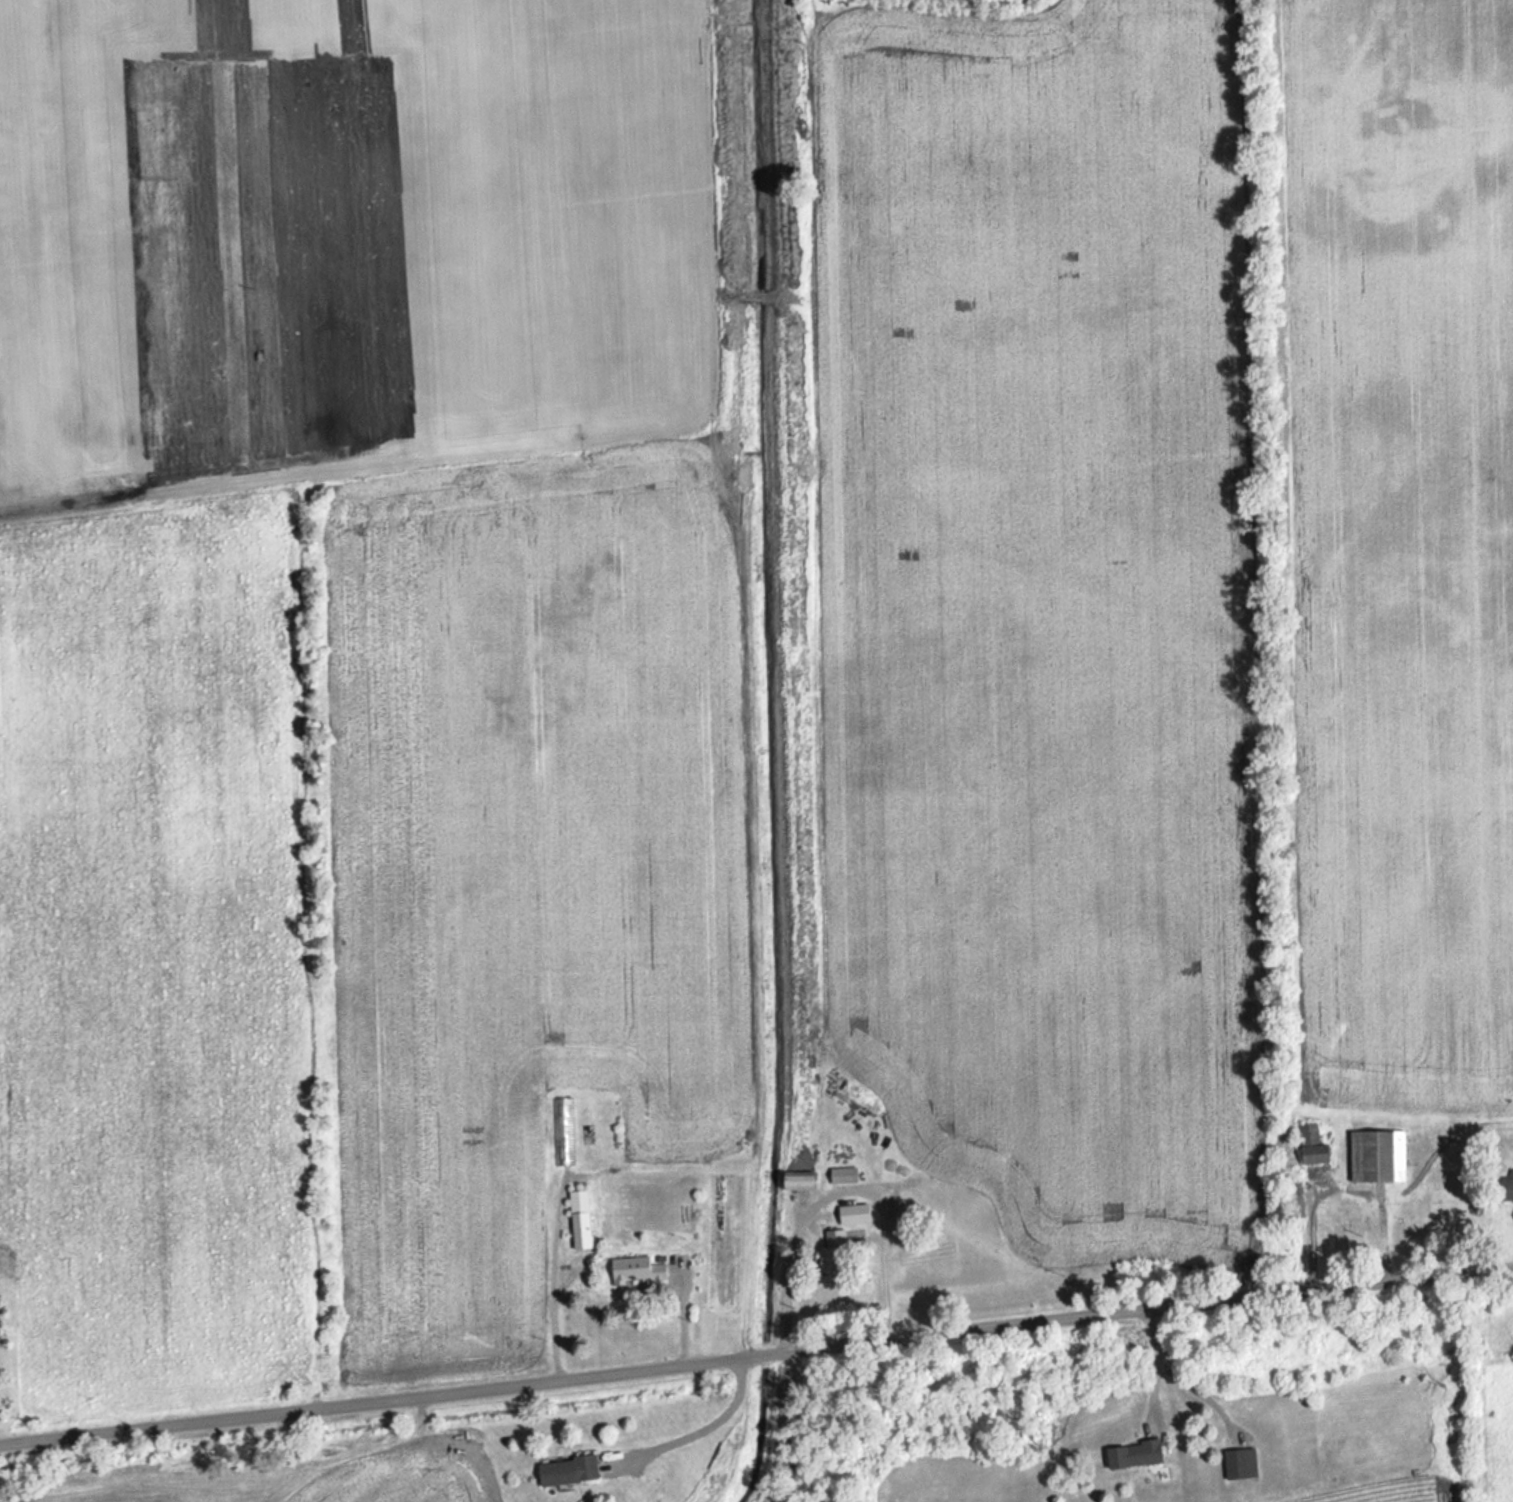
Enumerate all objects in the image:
building: (564, 1130)
building: (1380, 1155)
building: (1512, 1171)
building: (845, 1175)
building: (801, 1181)
building: (1508, 1188)
road: (842, 1196)
building: (857, 1213)
building: (582, 1219)
building: (850, 1236)
building: (639, 1270)
road: (553, 1278)
road: (756, 1357)
road: (1155, 1361)
road: (703, 1427)
building: (1137, 1455)
building: (1238, 1464)
building: (570, 1471)

